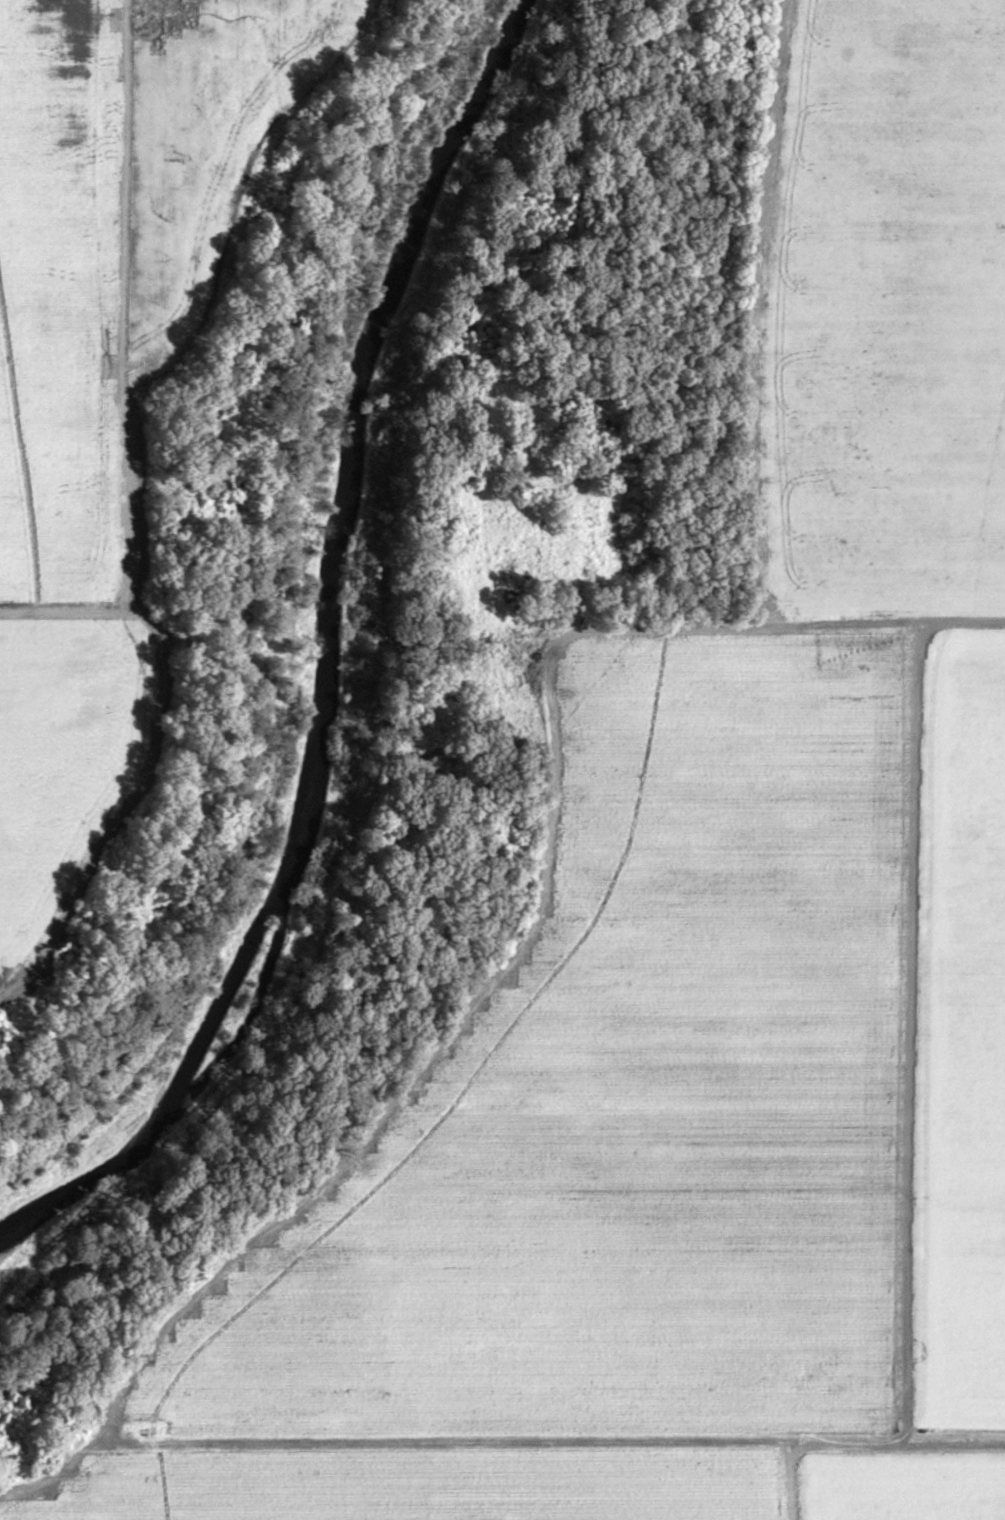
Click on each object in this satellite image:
road: (745, 318)
river: (325, 663)
road: (536, 910)
road: (901, 1036)
road: (488, 1438)
road: (1004, 1443)
road: (788, 1480)
road: (994, 1483)

